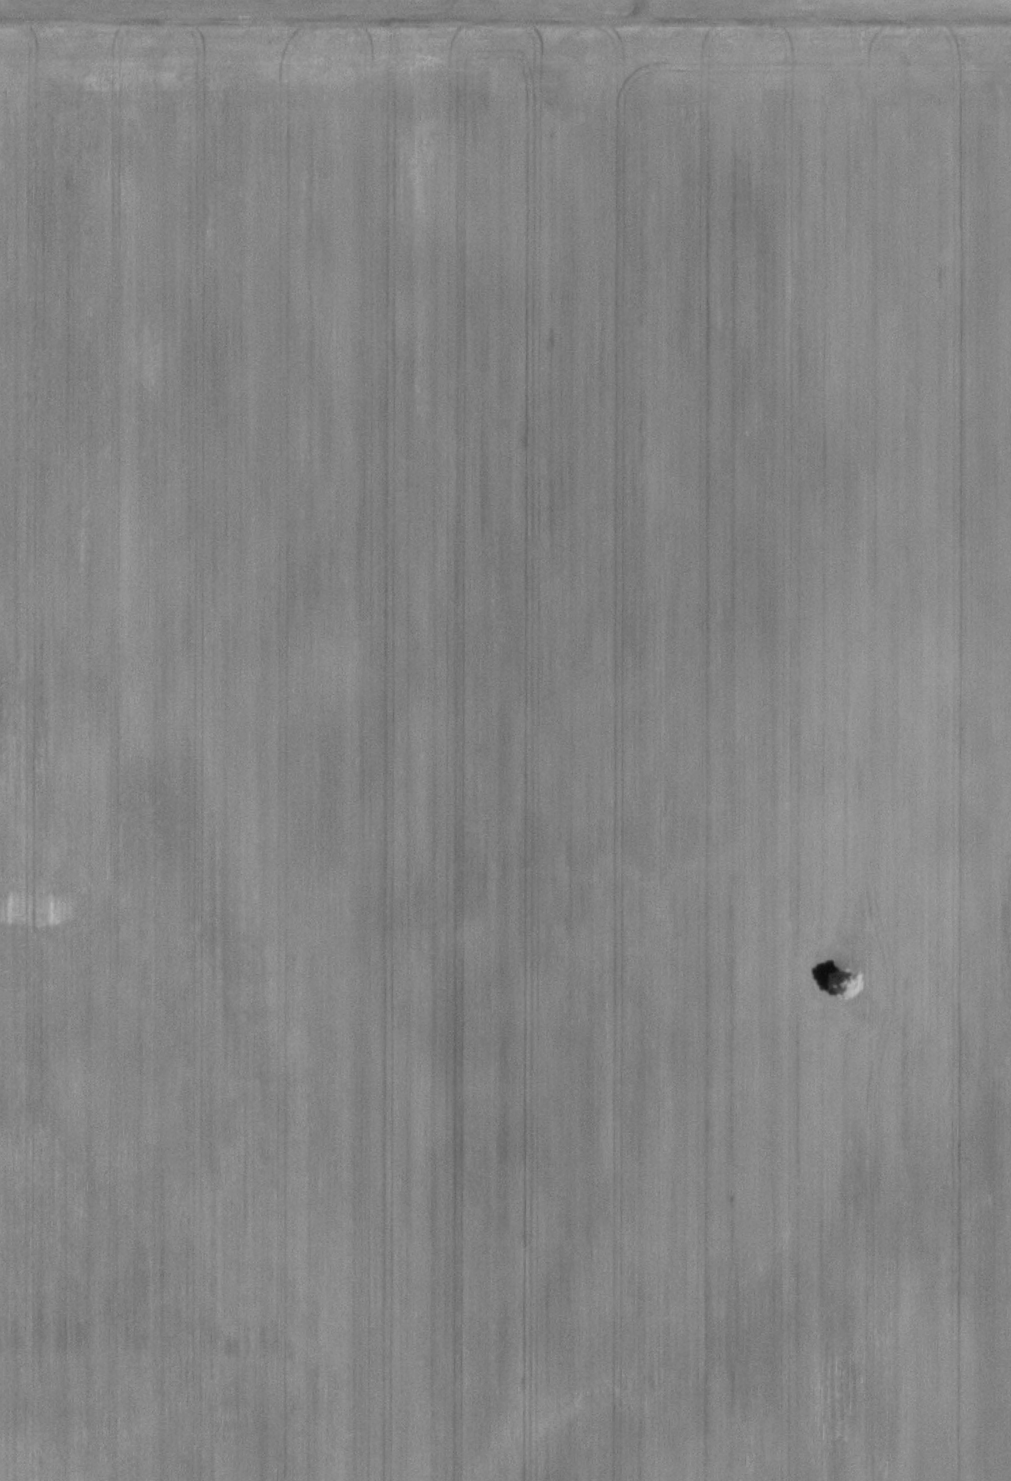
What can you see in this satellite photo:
road: (505, 22)

